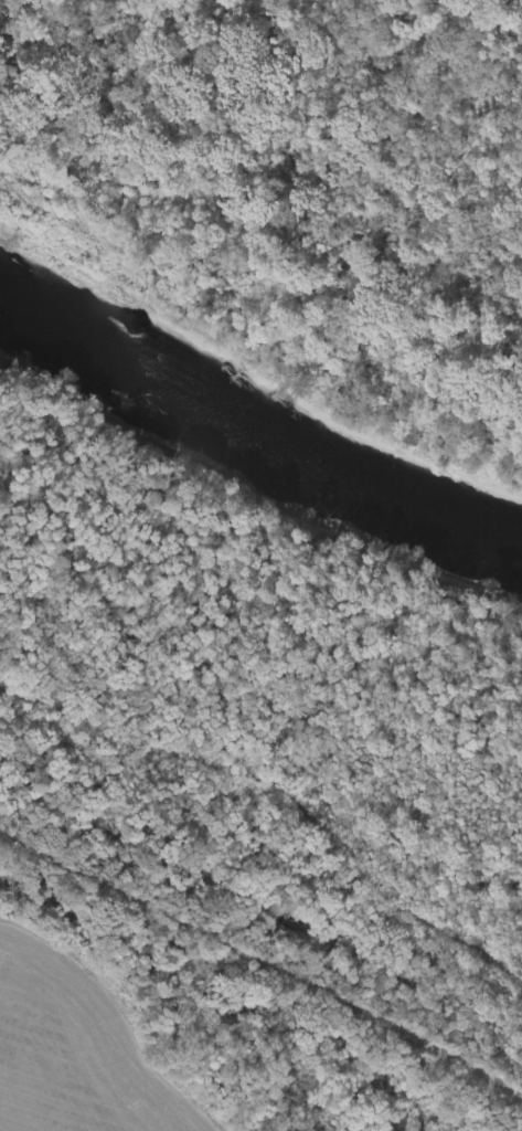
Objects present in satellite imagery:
river: (260, 422)
crop: (79, 1058)

